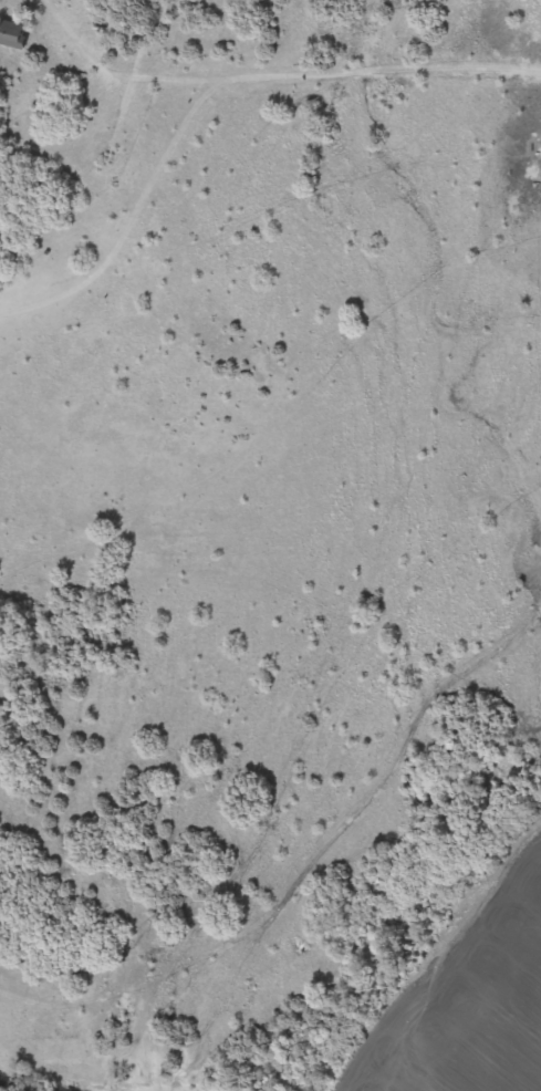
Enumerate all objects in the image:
building: (13, 33)
road: (277, 93)

